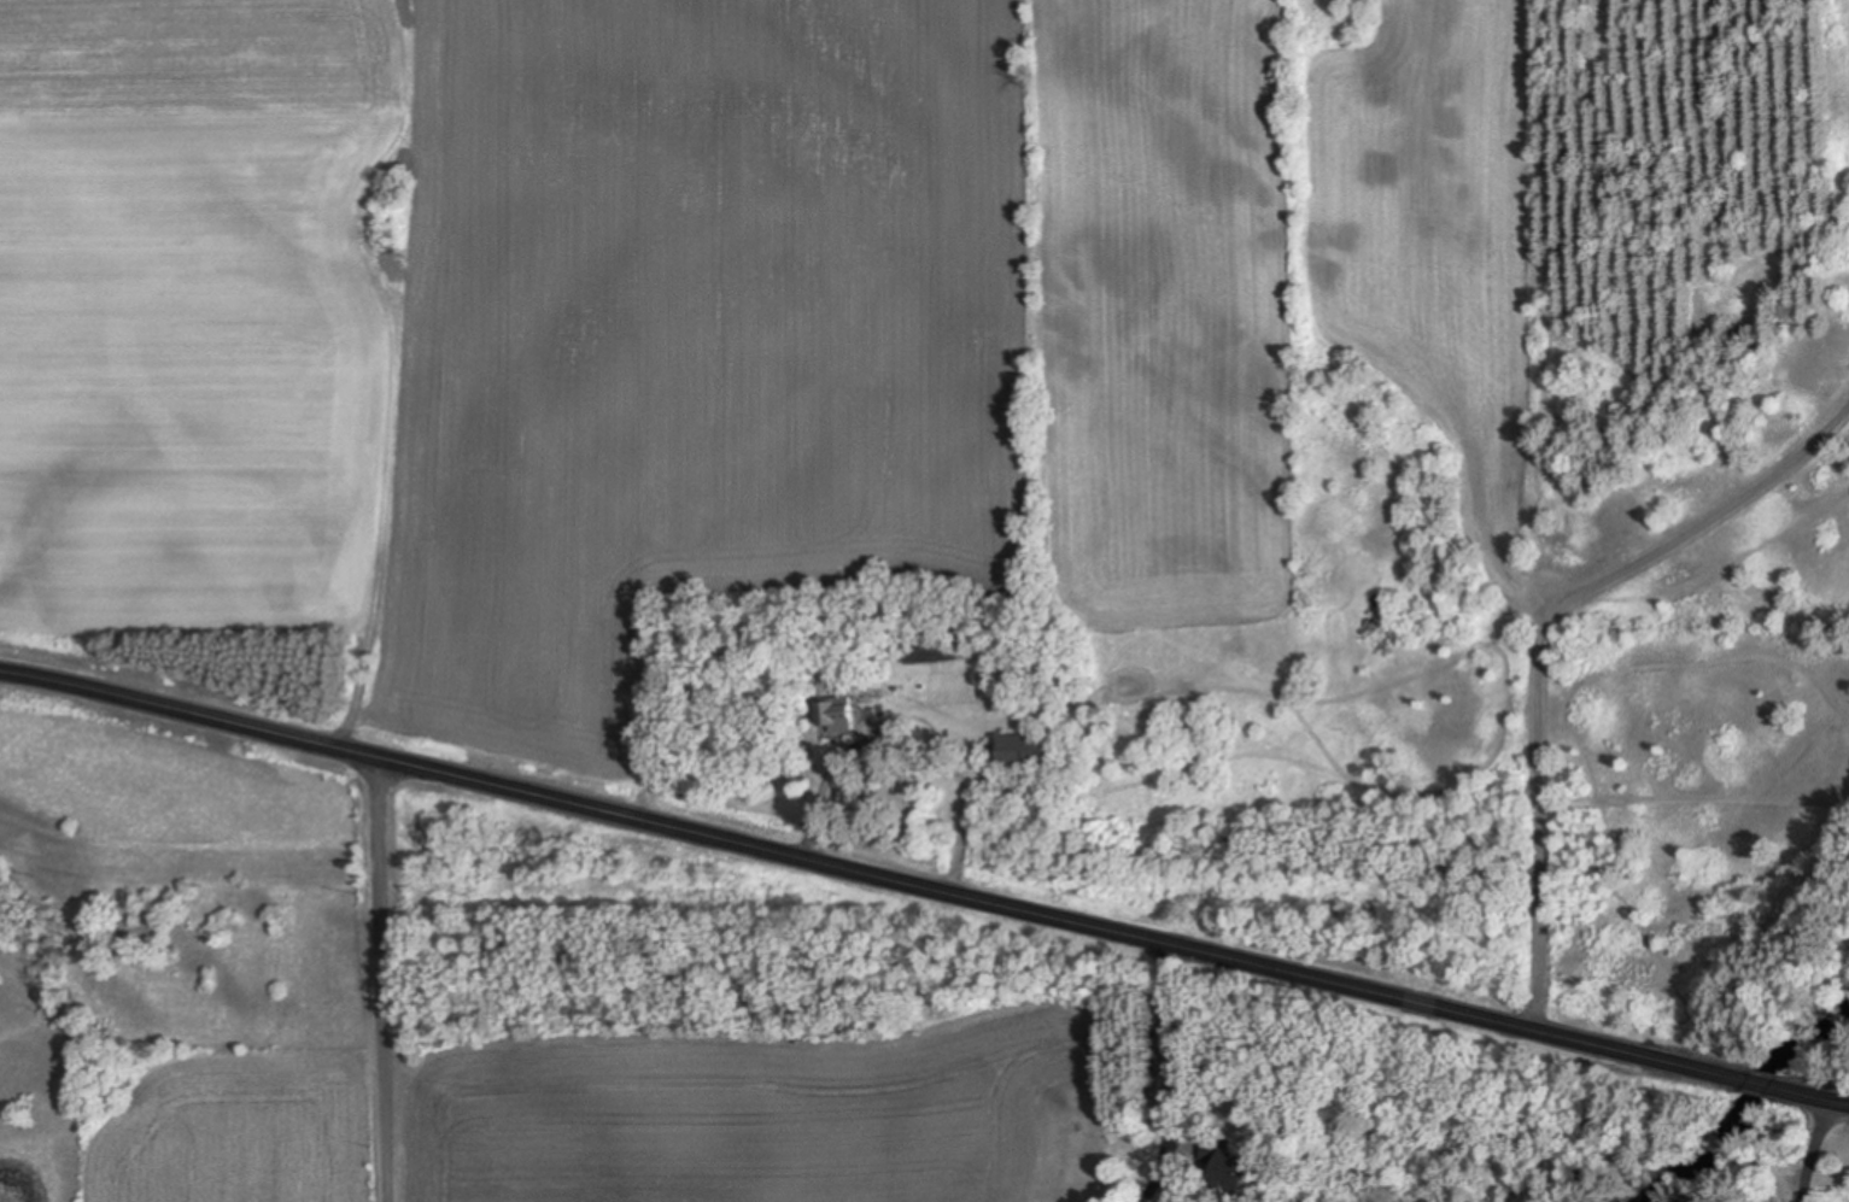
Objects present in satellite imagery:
building: (935, 646)
building: (842, 713)
building: (1036, 750)
road: (925, 879)
road: (390, 978)
building: (1218, 1166)
road: (1831, 1171)

